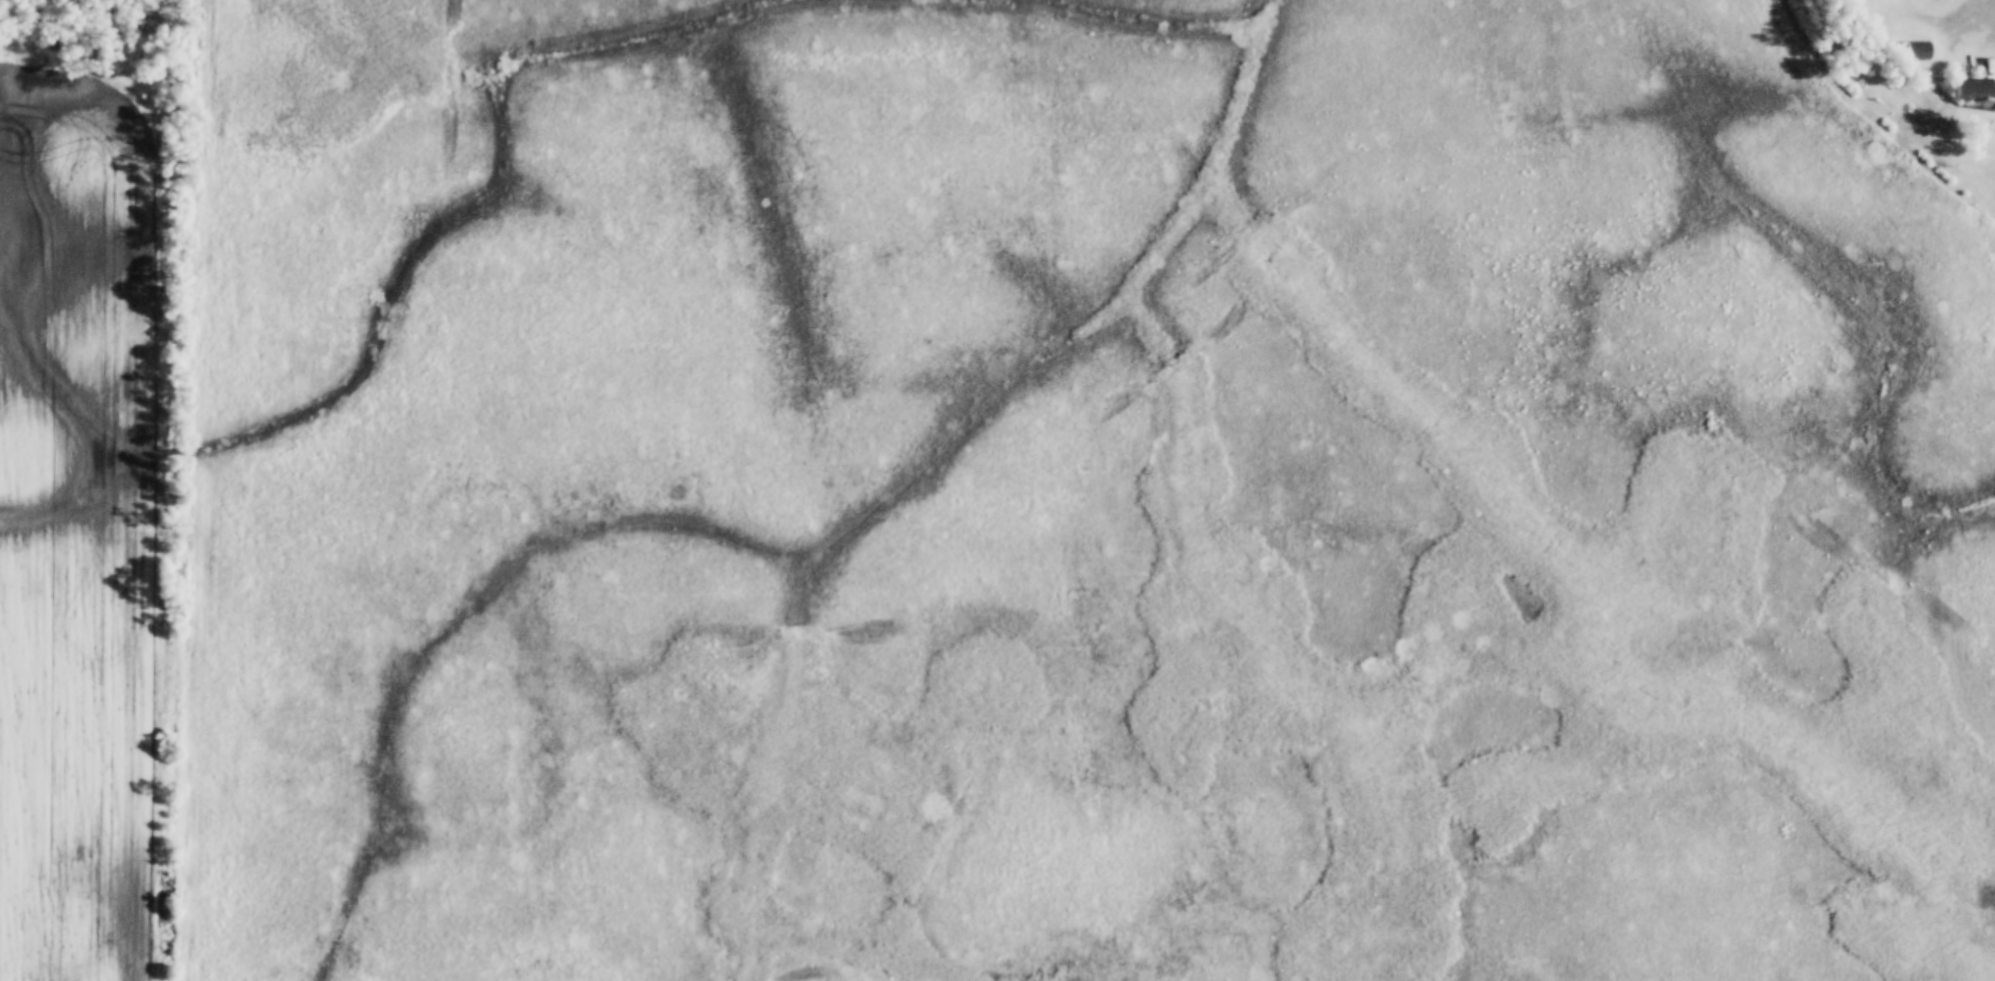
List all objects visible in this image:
road: (1974, 36)
building: (1917, 51)
building: (1972, 90)

